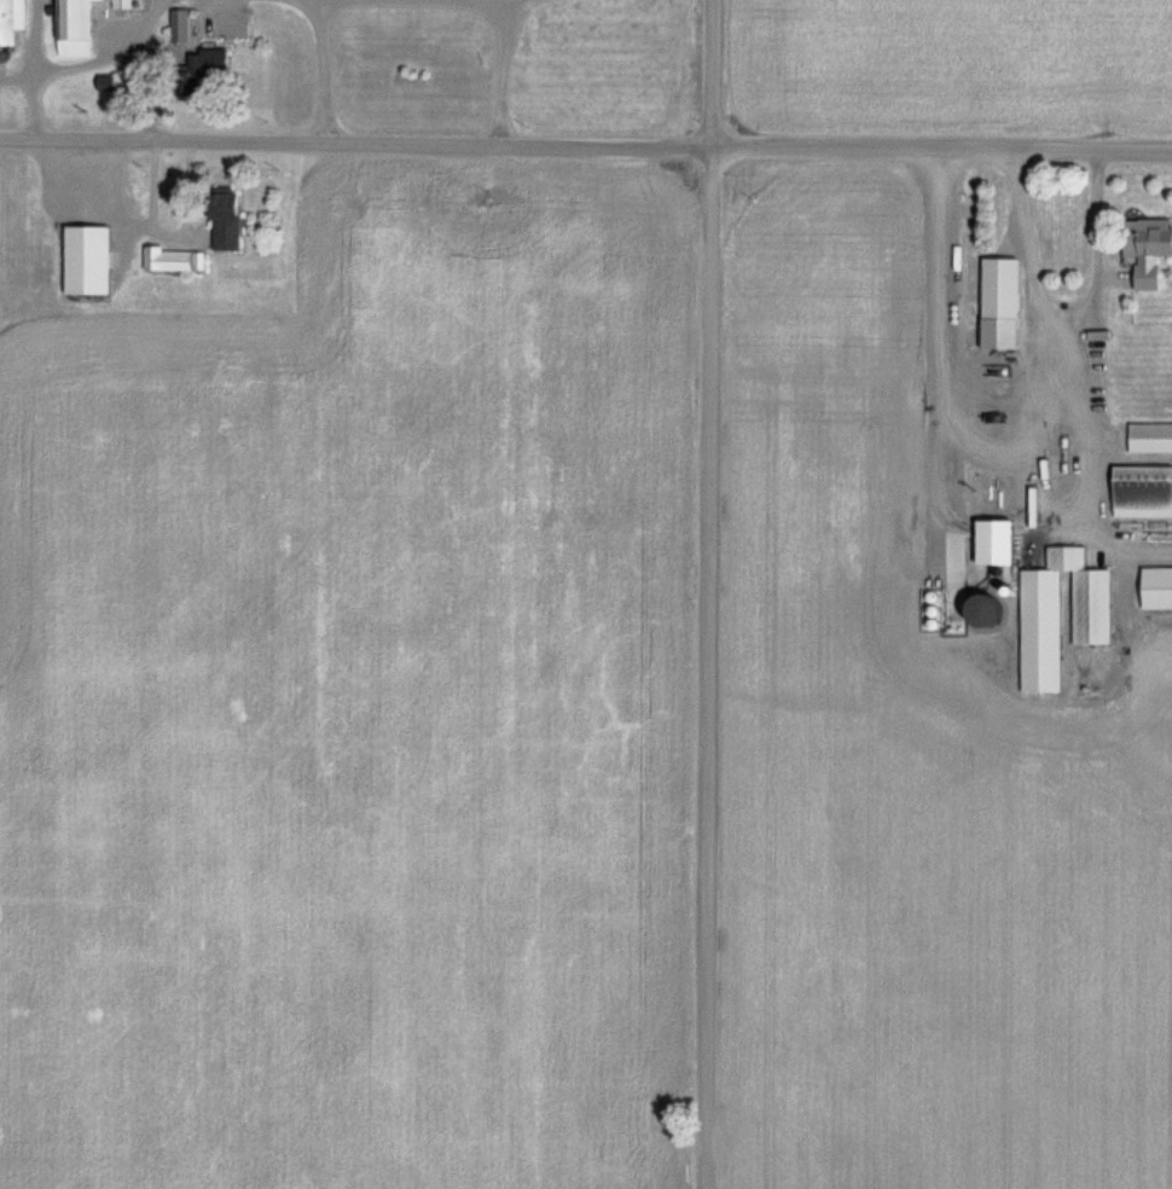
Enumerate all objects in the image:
building: (126, 4)
building: (12, 21)
building: (182, 24)
building: (79, 27)
road: (95, 59)
building: (216, 62)
road: (501, 64)
road: (321, 71)
road: (29, 105)
road: (586, 146)
building: (230, 217)
building: (1150, 248)
building: (176, 259)
building: (93, 260)
road: (1026, 261)
building: (1004, 302)
building: (1025, 440)
building: (1056, 469)
road: (1037, 486)
building: (1144, 491)
road: (1102, 538)
building: (1002, 541)
building: (1159, 587)
road: (706, 593)
building: (1063, 615)

